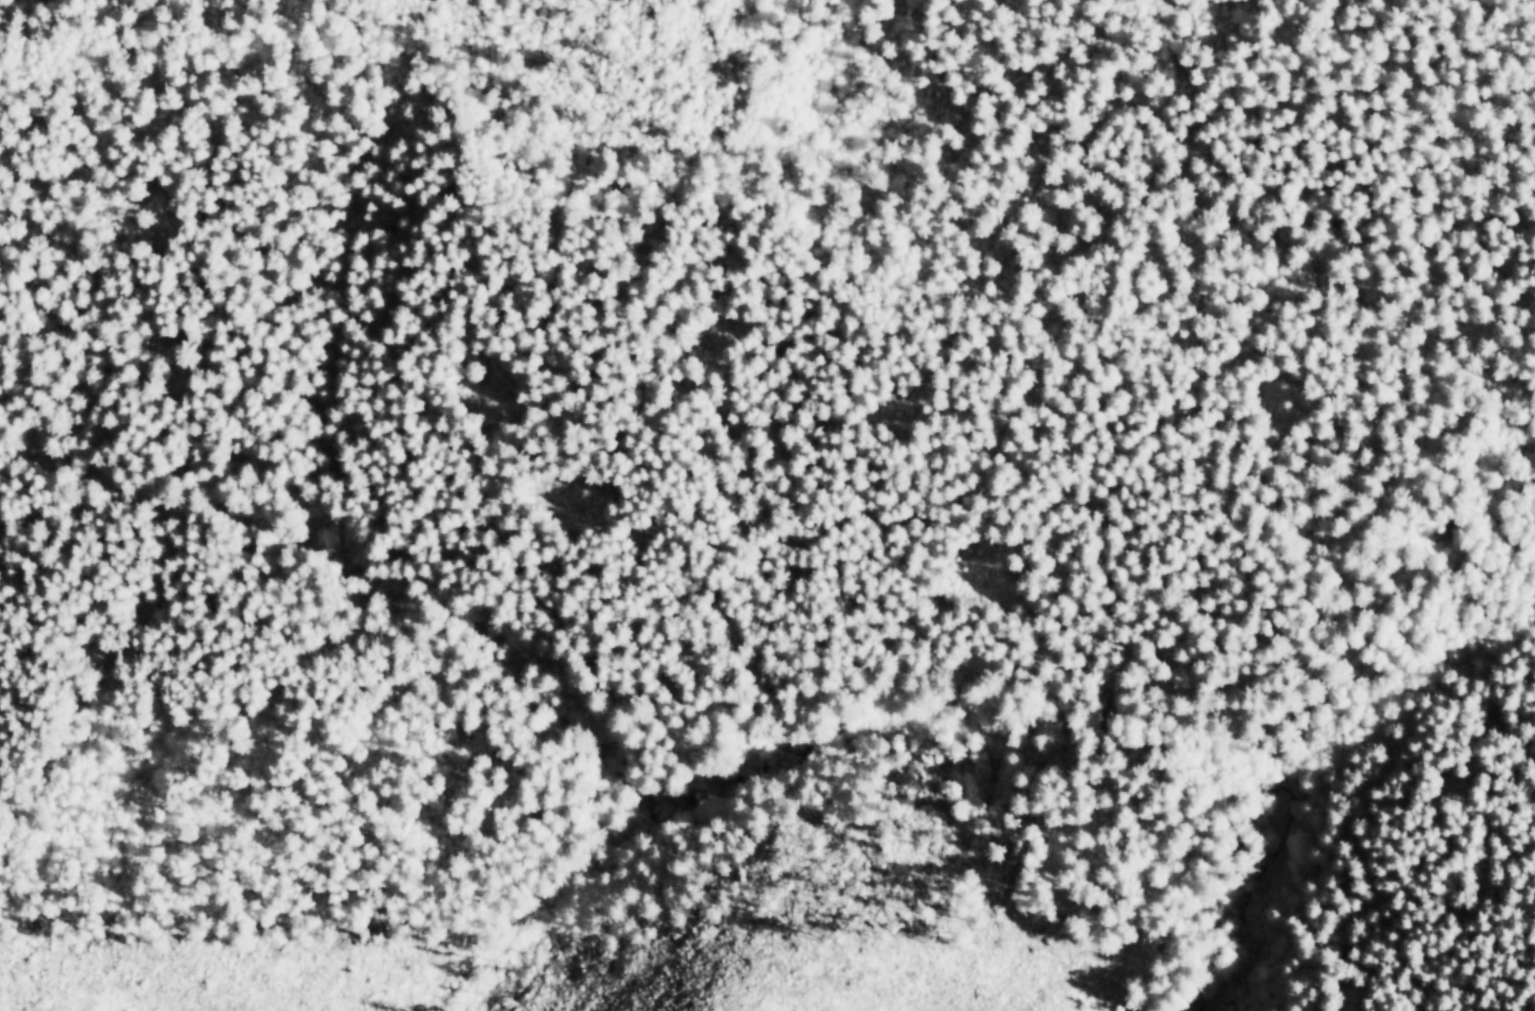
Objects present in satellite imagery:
road: (486, 86)
park: (773, 491)

